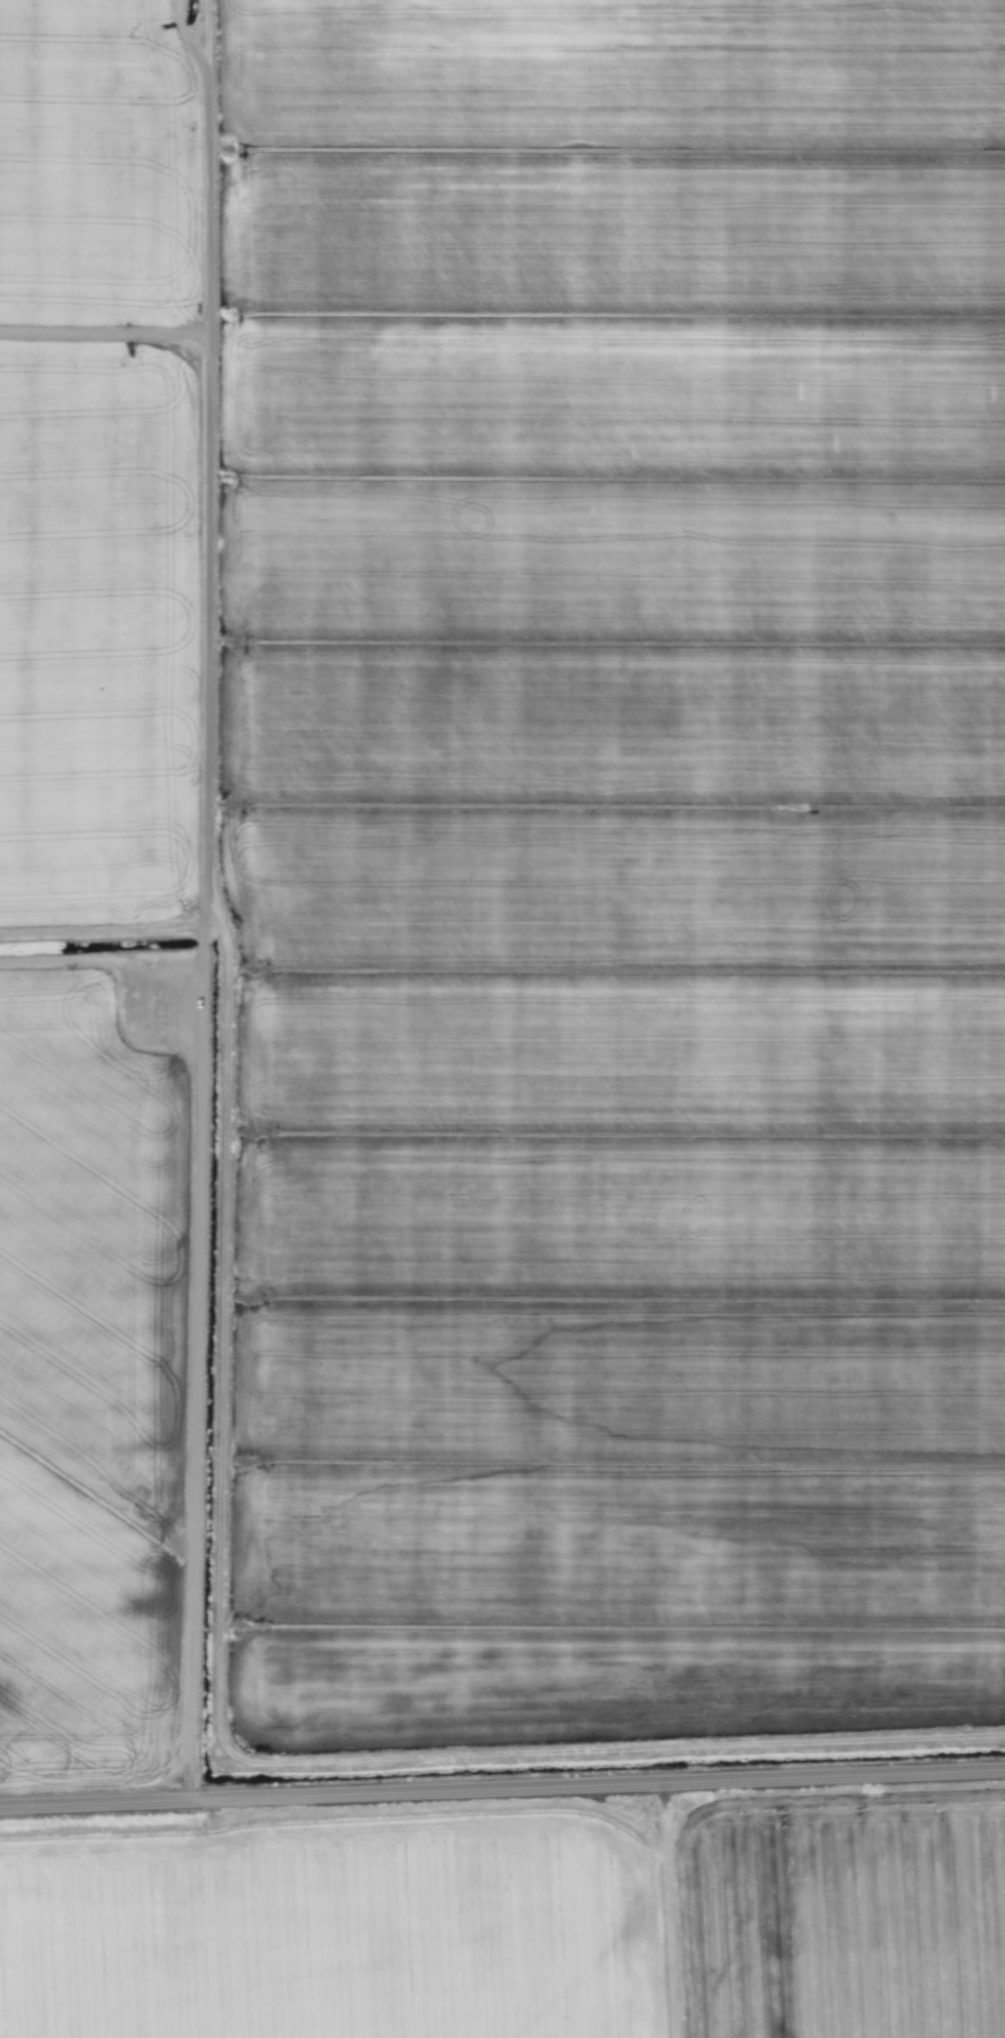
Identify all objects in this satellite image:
road: (502, 1788)

